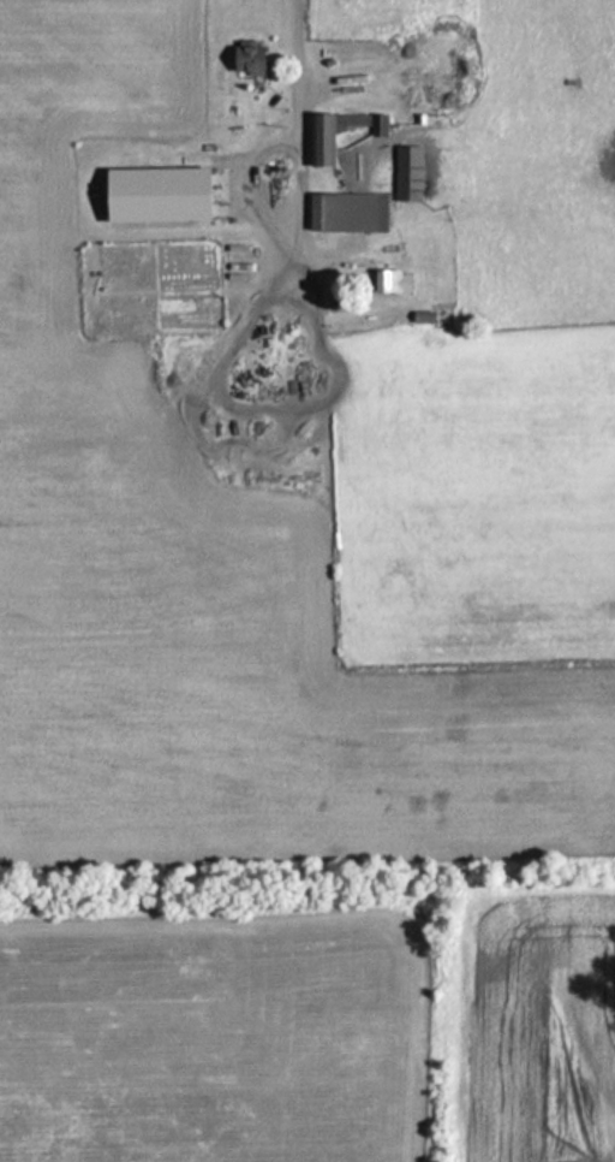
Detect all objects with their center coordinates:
building: (245, 57)
building: (423, 72)
building: (329, 134)
building: (406, 173)
road: (305, 186)
building: (345, 212)
building: (389, 280)
building: (419, 316)
building: (47, 1047)

